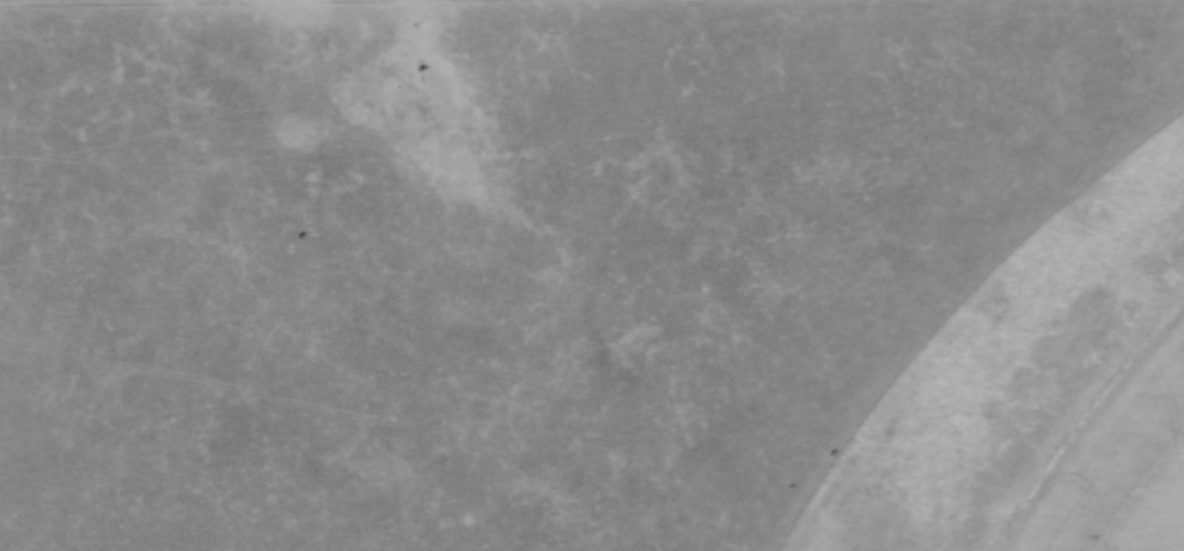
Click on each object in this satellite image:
crop: (1125, 472)

